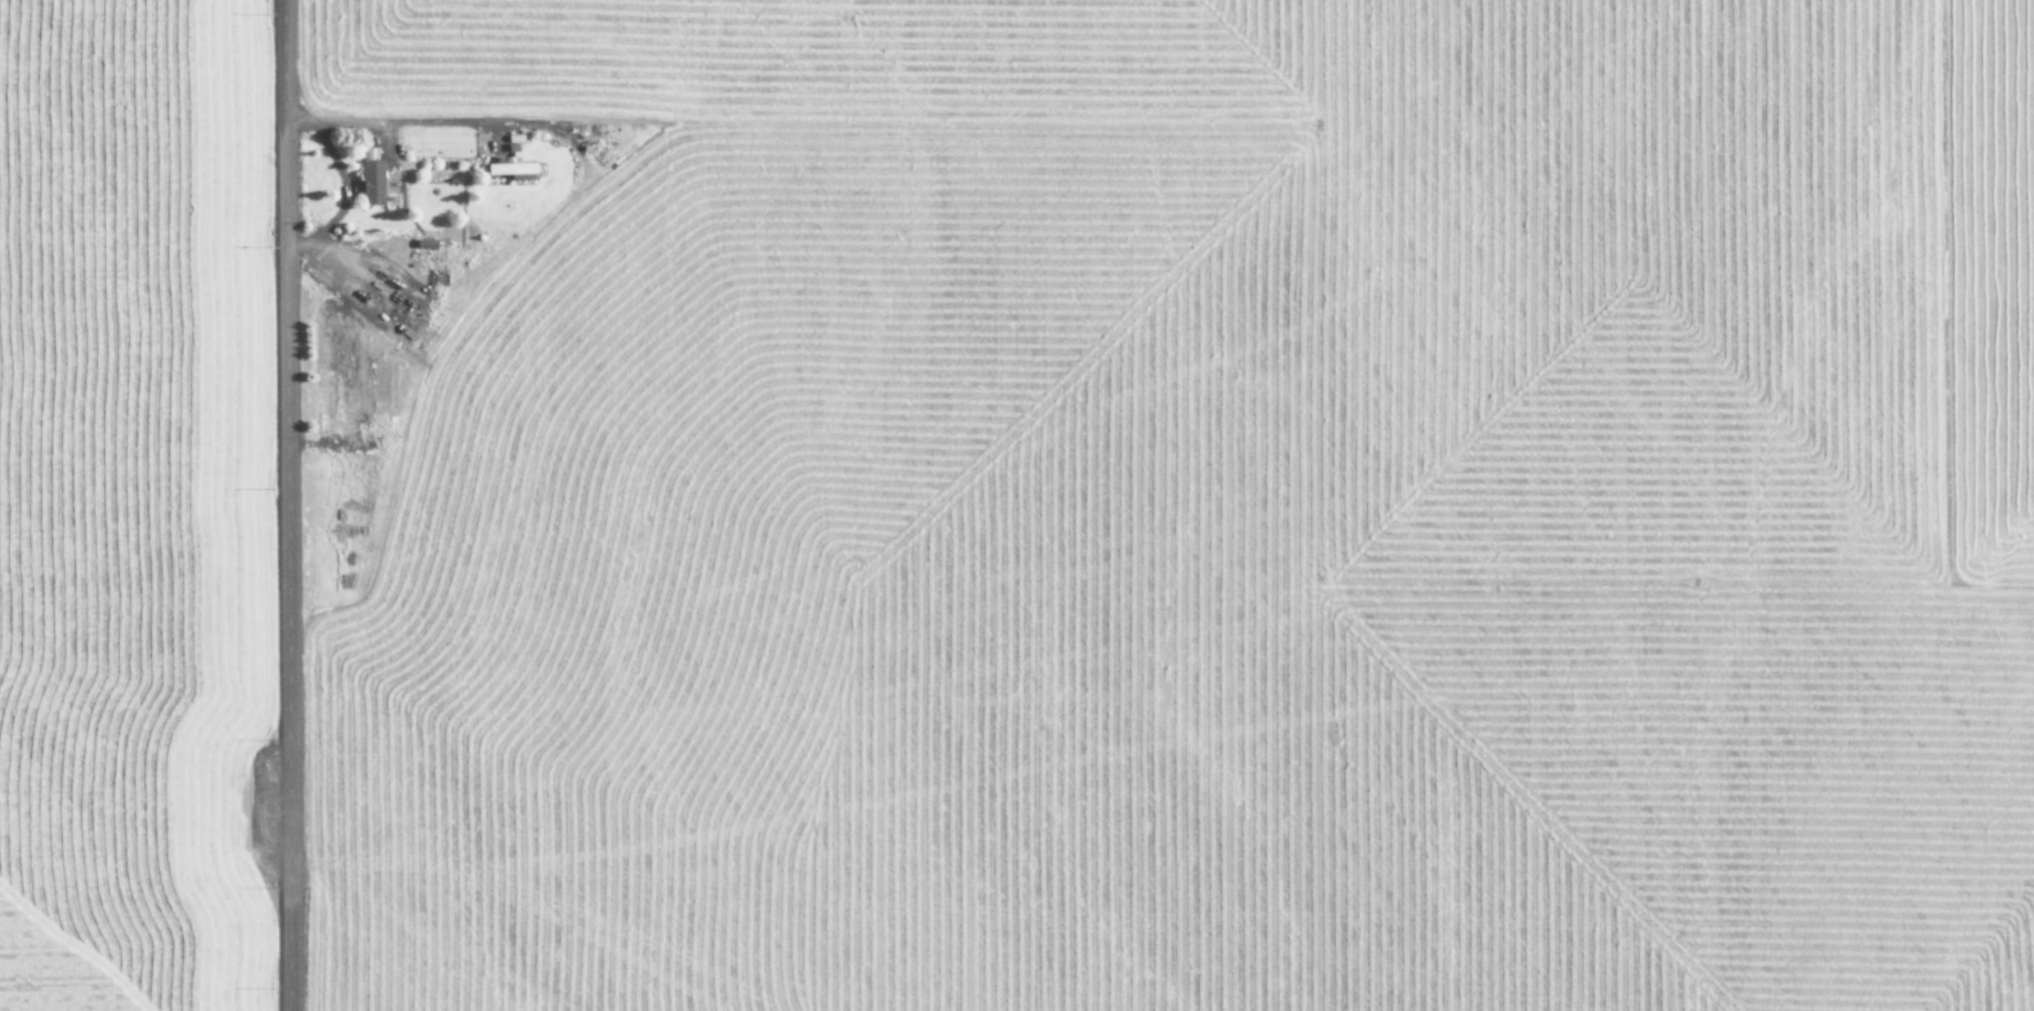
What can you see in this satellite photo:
crop: (1180, 504)
road: (289, 505)
crop: (130, 506)

